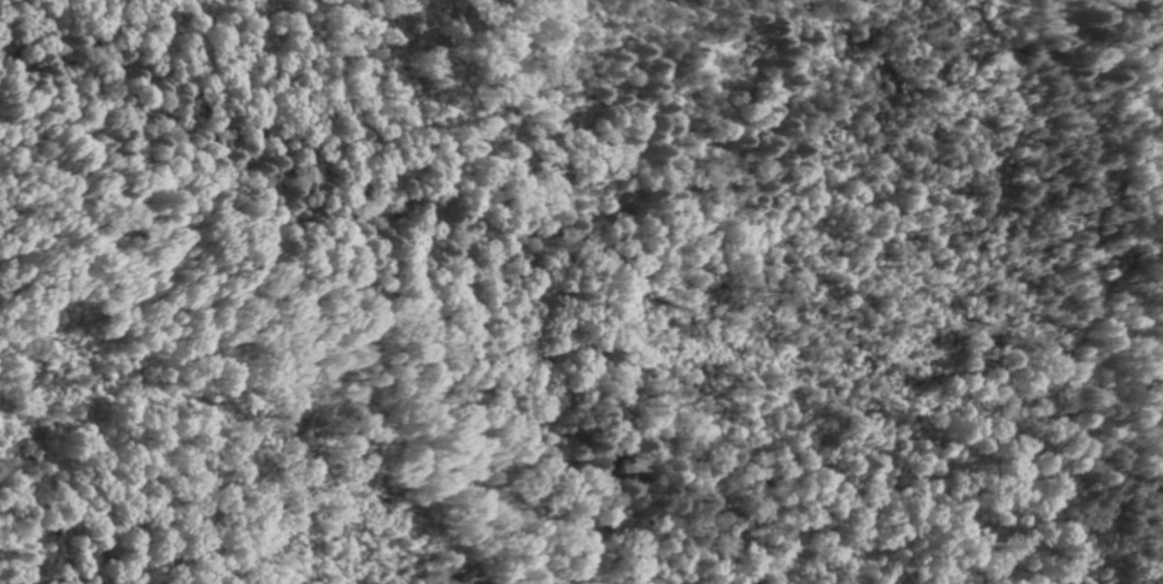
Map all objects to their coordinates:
road: (1071, 313)

